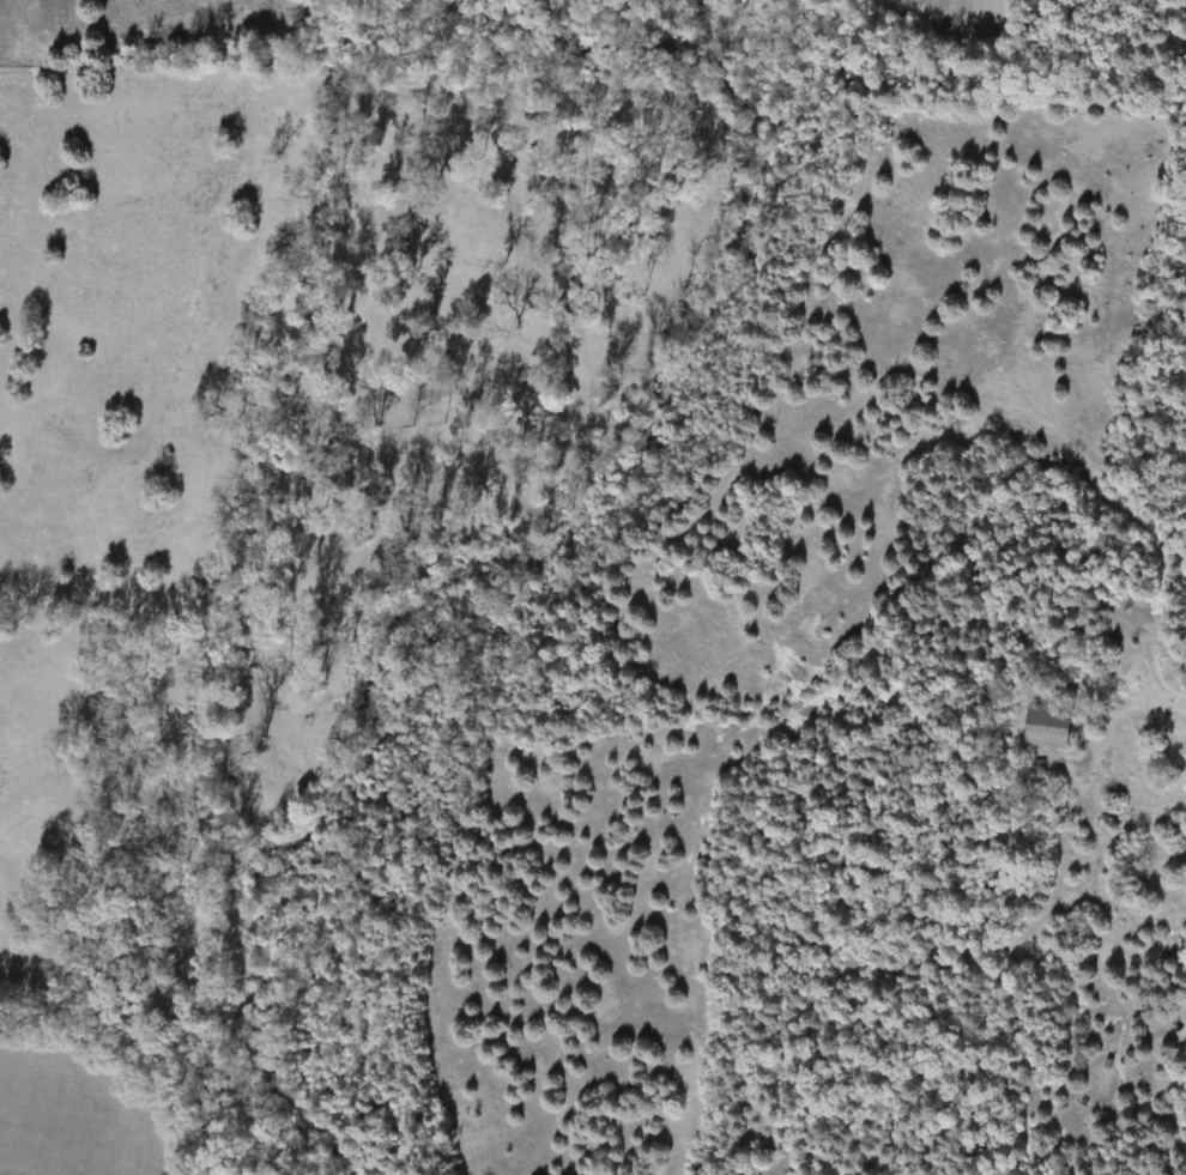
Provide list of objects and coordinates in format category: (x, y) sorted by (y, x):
road: (1160, 705)
building: (1045, 726)

